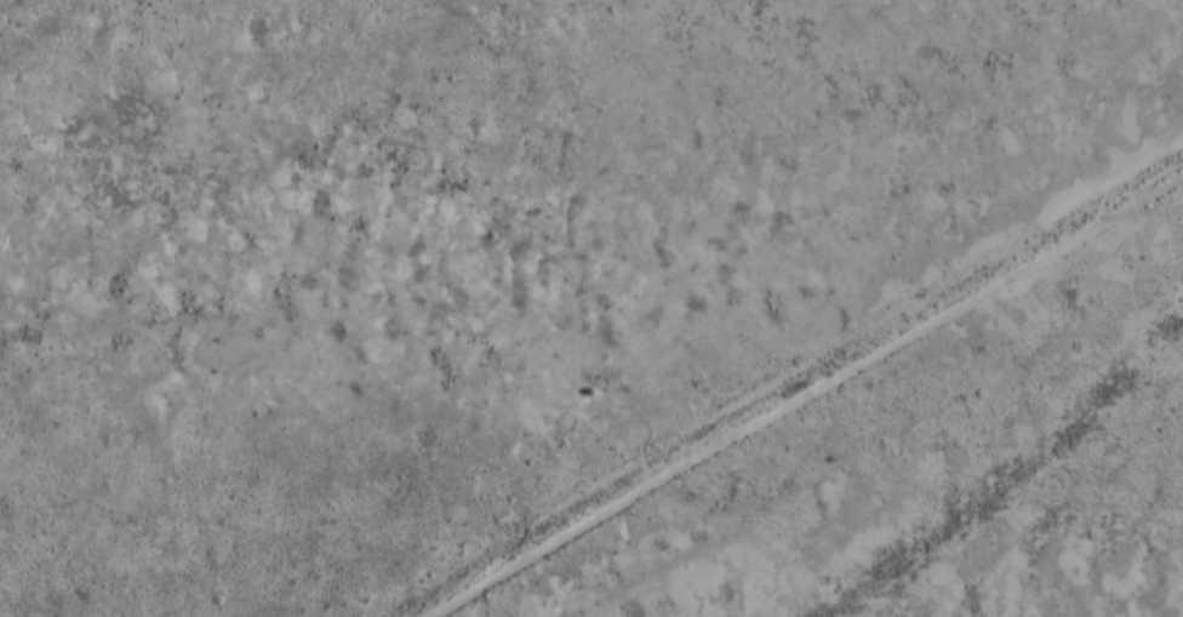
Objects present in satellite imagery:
road: (800, 395)

